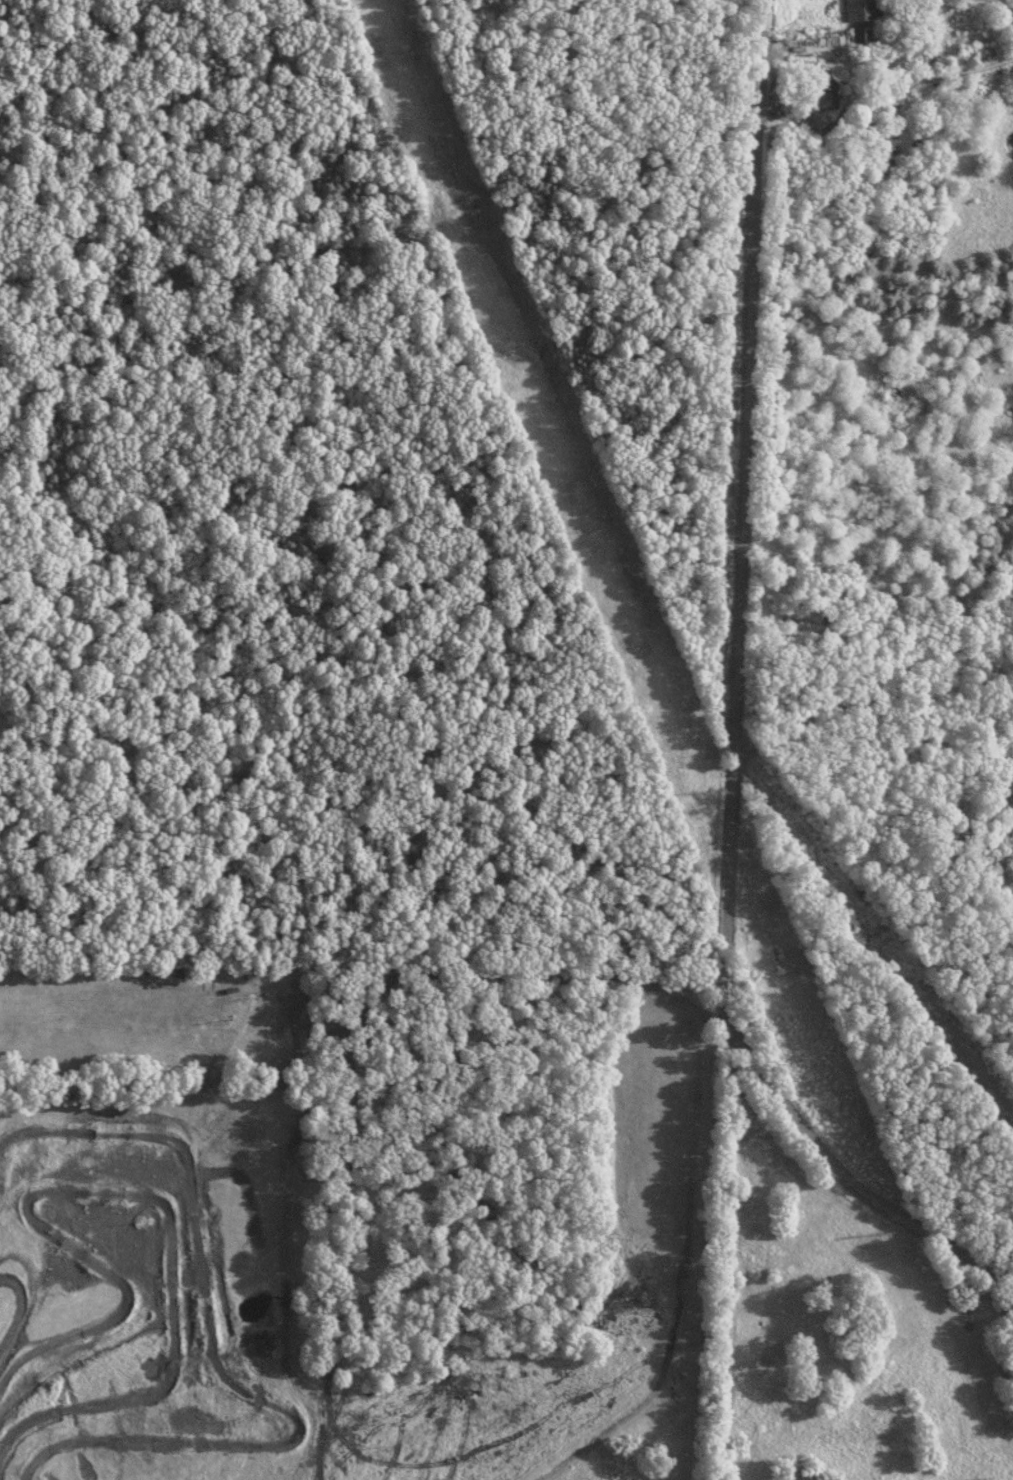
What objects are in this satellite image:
building: (860, 9)
building: (859, 37)
power tower: (386, 52)
building: (921, 59)
building: (823, 93)
building: (882, 148)
power tower: (579, 531)
road: (740, 705)
power tower: (693, 794)
building: (270, 1080)
power tower: (870, 1233)
power tower: (978, 1476)

